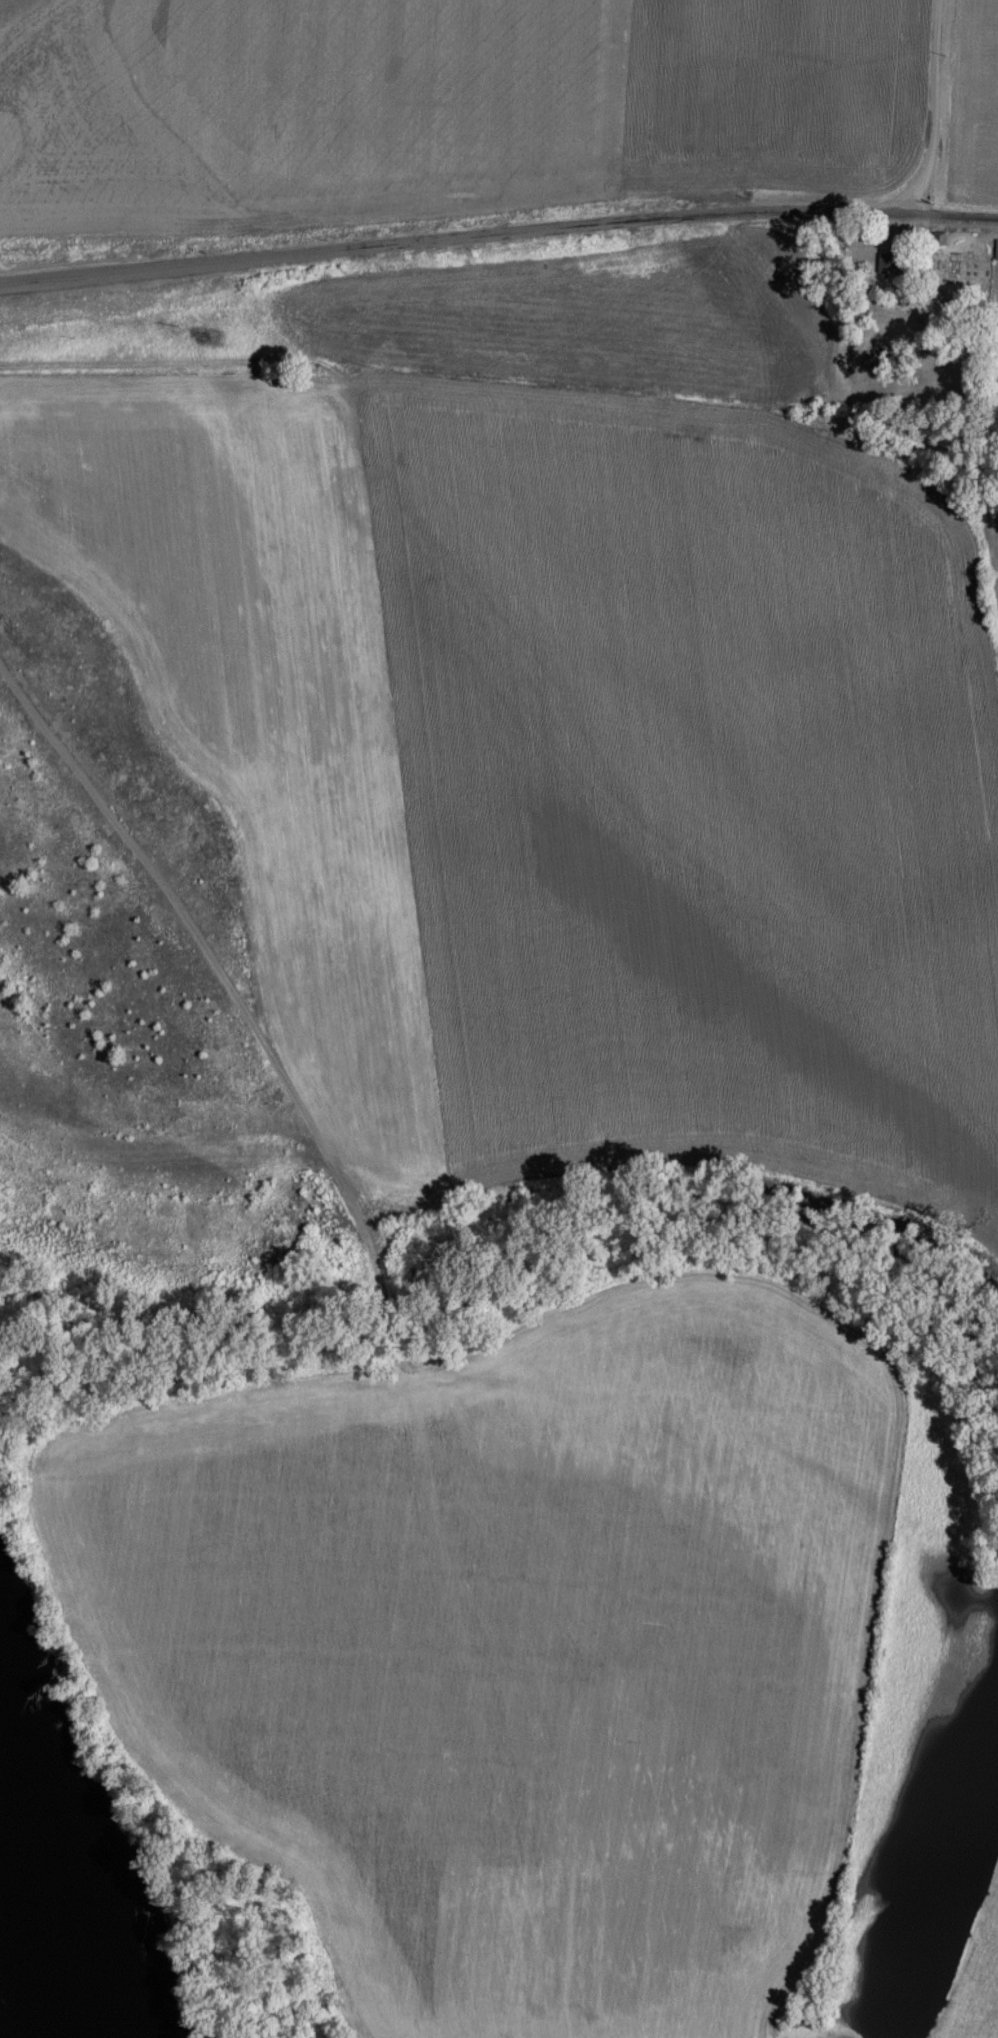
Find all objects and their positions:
road: (935, 108)
road: (498, 232)
building: (939, 237)
building: (996, 248)
building: (889, 262)
building: (900, 295)
building: (938, 310)
road: (245, 1013)
river: (40, 1948)

